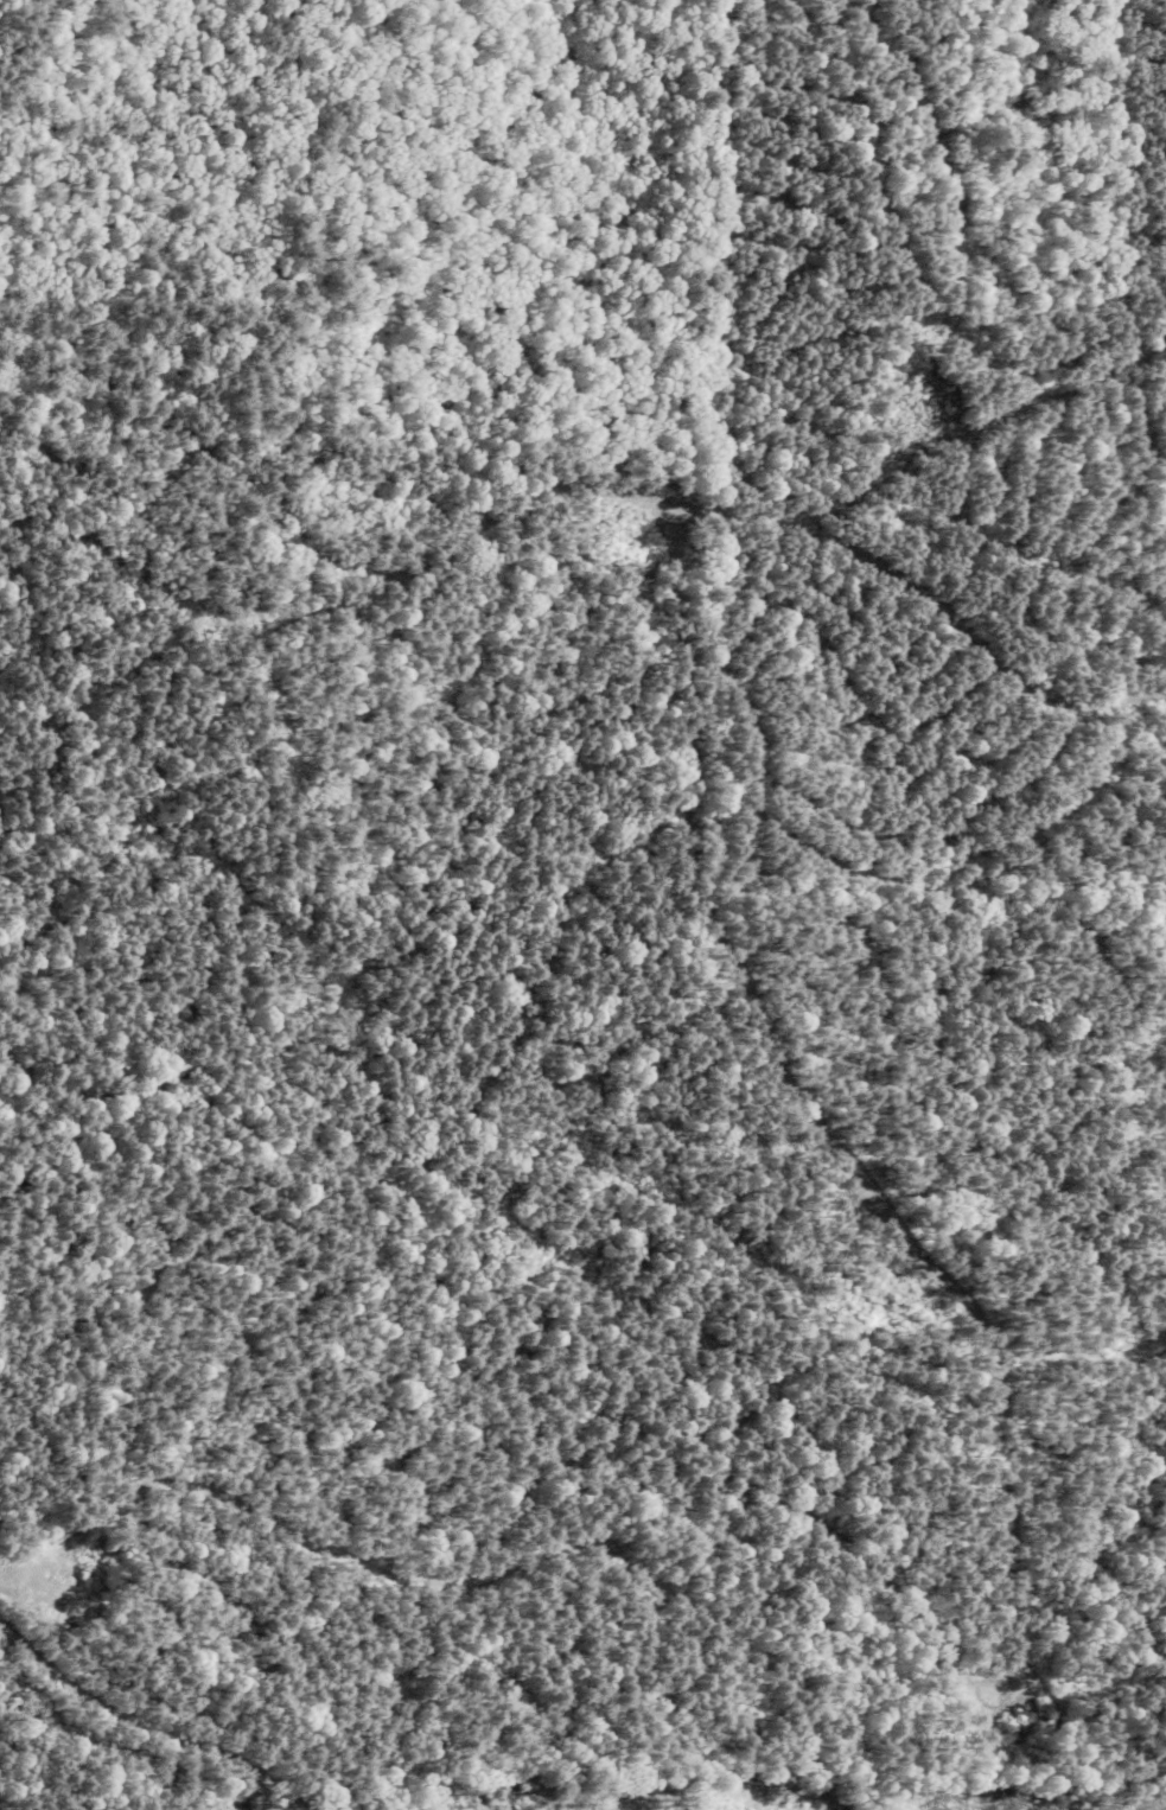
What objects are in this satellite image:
road: (133, 1722)

